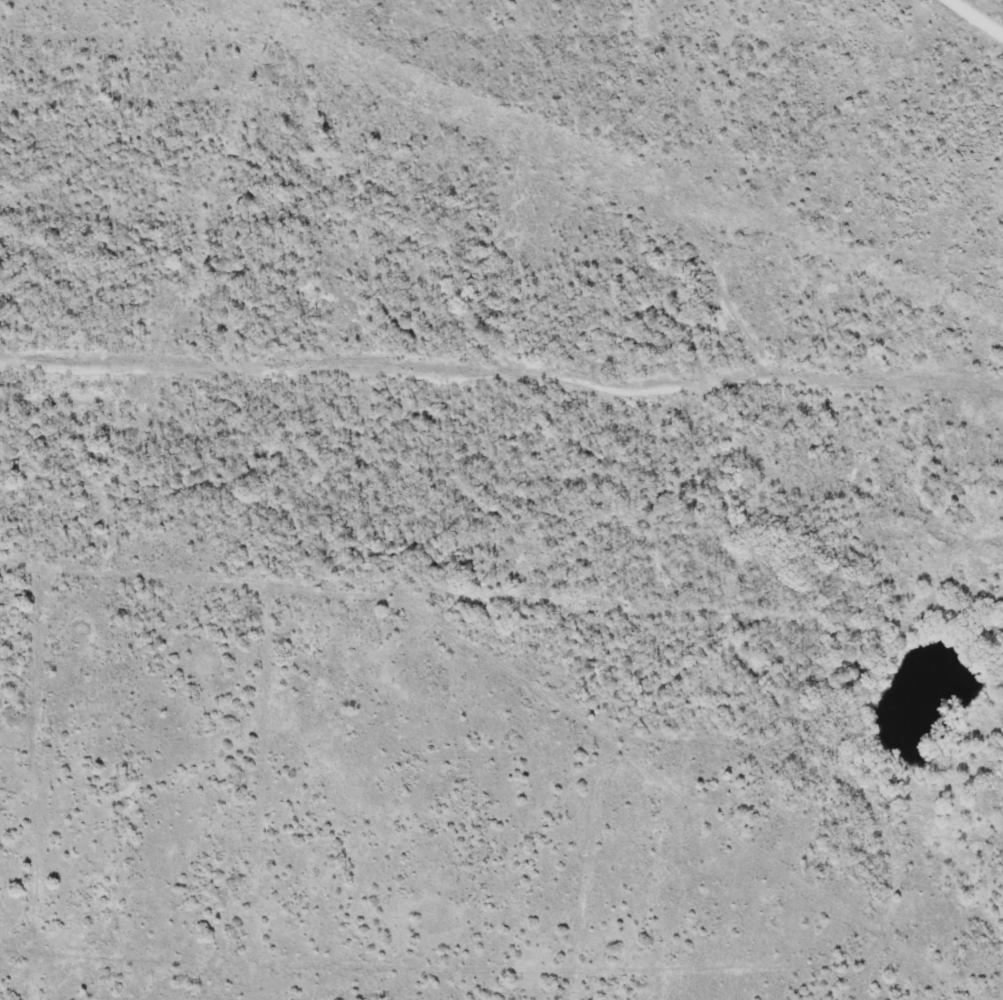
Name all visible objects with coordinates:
road: (973, 19)

